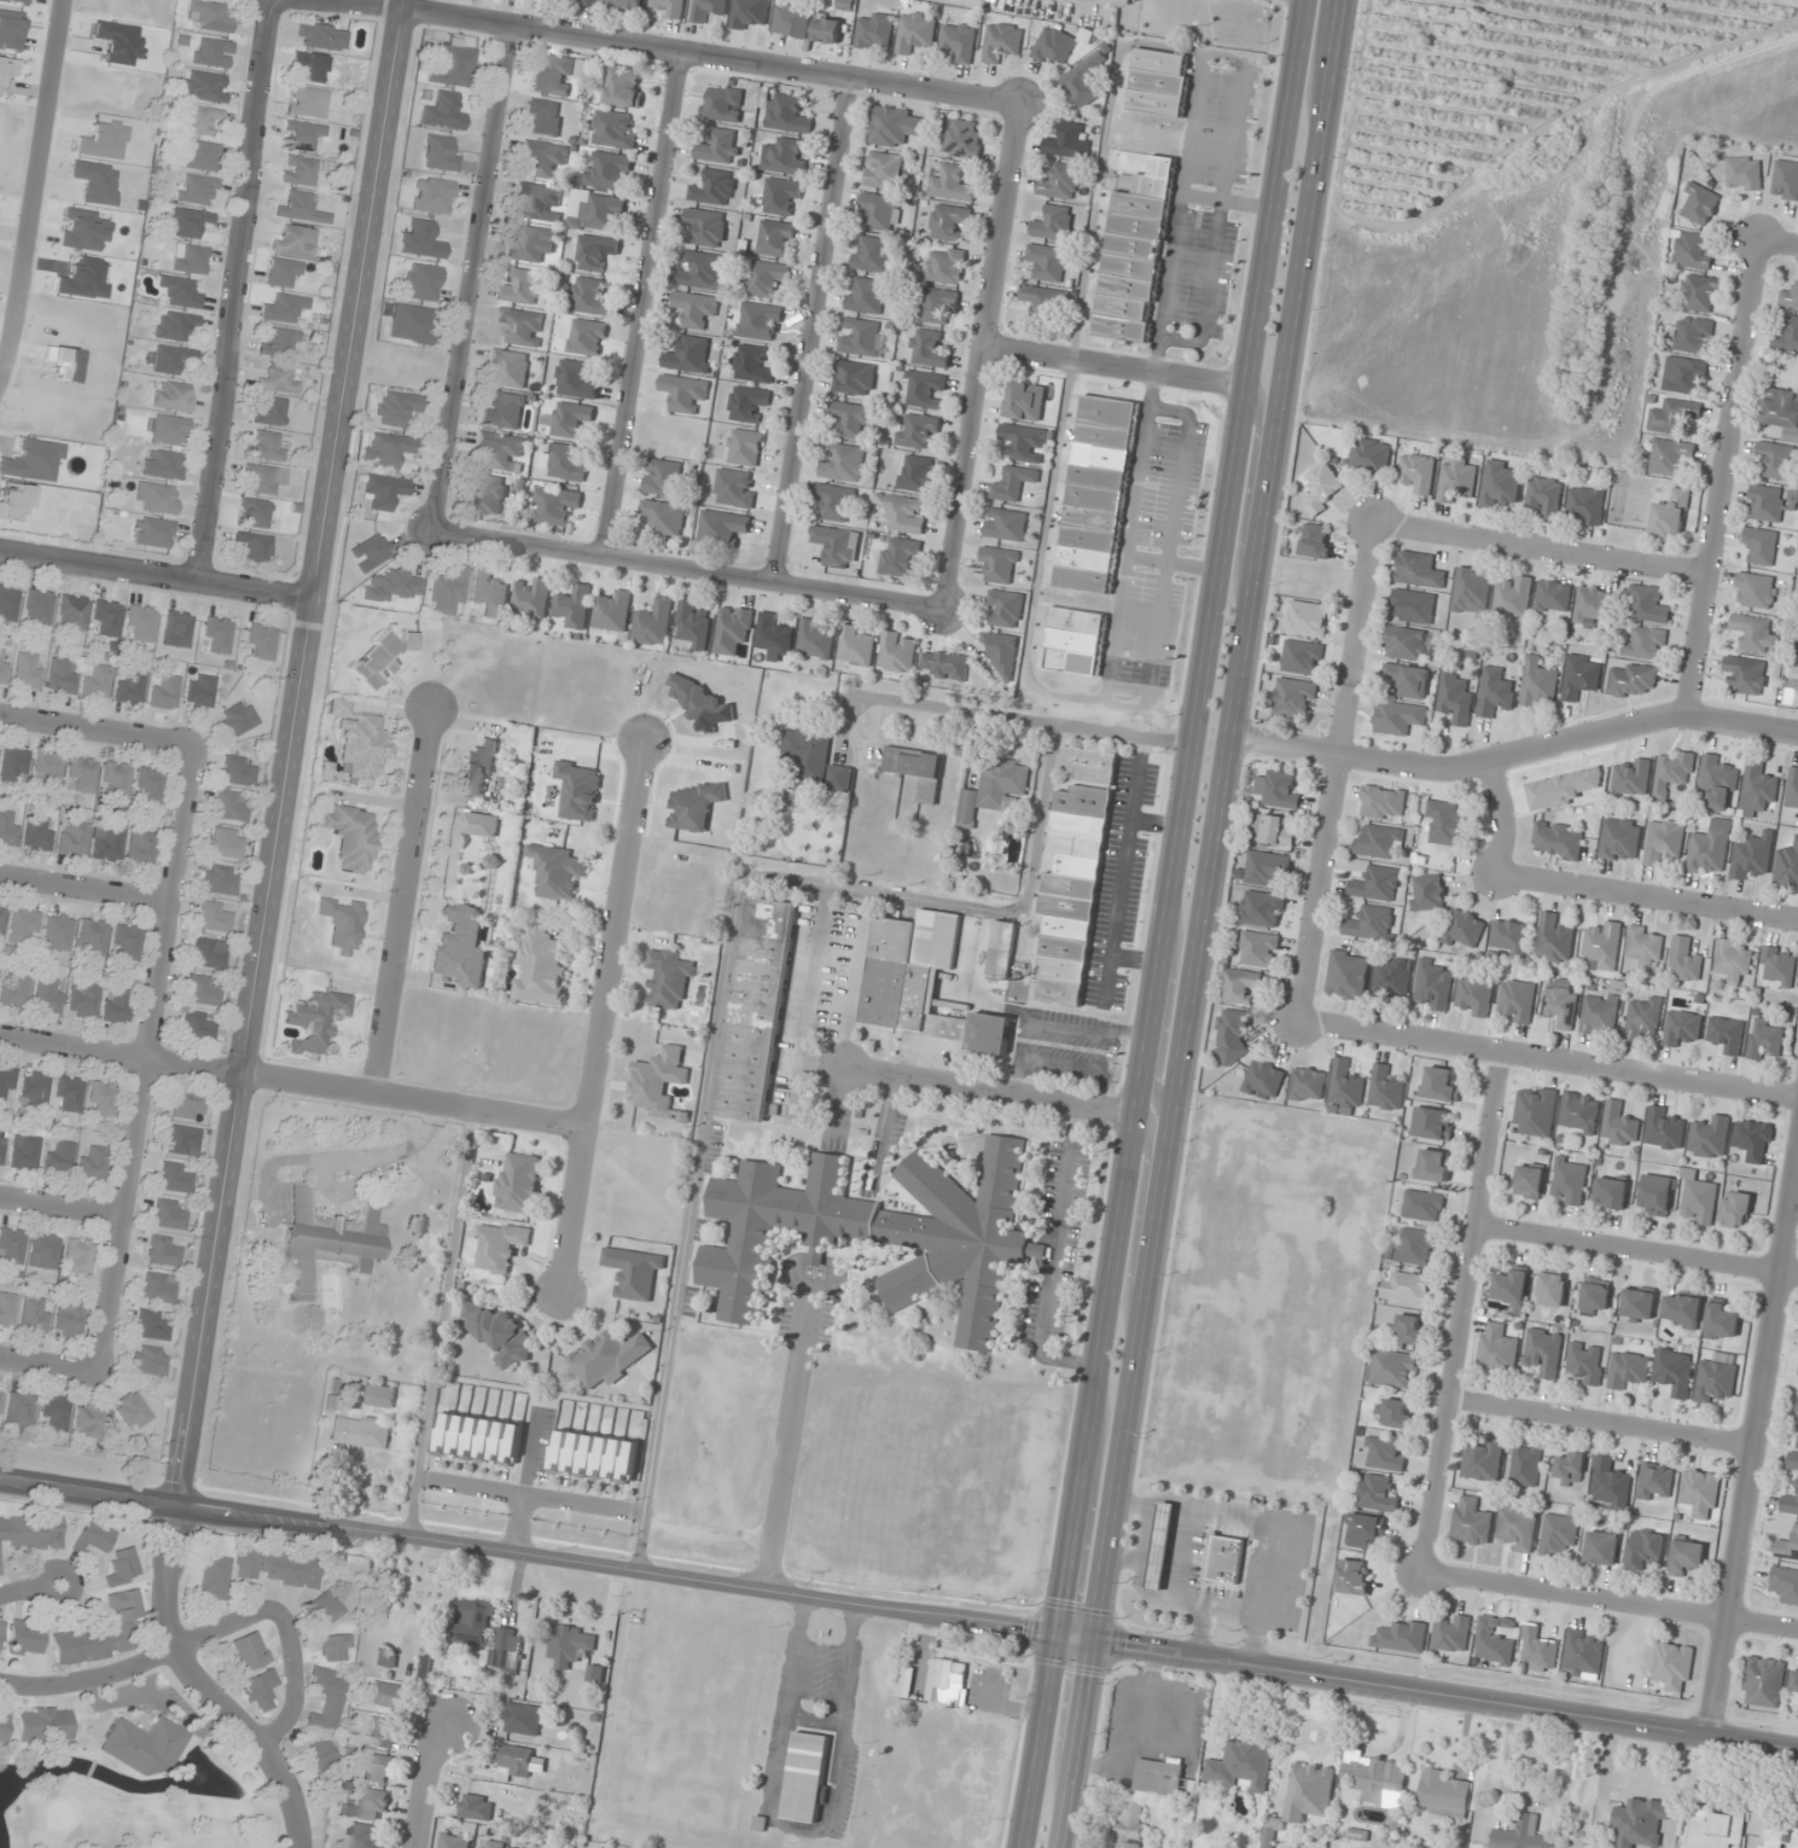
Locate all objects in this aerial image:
building: (592, 2)
building: (627, 4)
road: (368, 5)
building: (669, 7)
building: (708, 10)
building: (750, 13)
building: (208, 17)
road: (456, 17)
building: (791, 19)
building: (827, 28)
building: (874, 31)
building: (915, 31)
building: (321, 36)
building: (959, 41)
building: (1002, 41)
building: (1054, 45)
building: (211, 53)
road: (764, 64)
building: (309, 66)
building: (452, 66)
building: (552, 75)
building: (1084, 79)
building: (1159, 82)
building: (623, 86)
building: (203, 87)
building: (307, 103)
building: (722, 103)
building: (443, 112)
building: (787, 114)
building: (543, 118)
building: (197, 120)
building: (894, 126)
building: (612, 130)
building: (303, 136)
building: (962, 138)
building: (1067, 141)
building: (720, 146)
building: (440, 155)
building: (202, 156)
building: (785, 156)
building: (545, 157)
building: (606, 169)
building: (883, 169)
building: (298, 170)
building: (1744, 173)
building: (1785, 180)
building: (1060, 181)
building: (949, 182)
road: (33, 186)
building: (714, 187)
building: (196, 190)
building: (432, 196)
building: (780, 196)
building: (539, 199)
building: (1699, 204)
building: (301, 209)
building: (879, 210)
building: (598, 214)
building: (949, 221)
building: (186, 222)
building: (1053, 223)
building: (706, 226)
building: (775, 238)
building: (421, 239)
building: (295, 240)
road: (1780, 242)
building: (531, 244)
building: (1693, 250)
building: (595, 251)
building: (1134, 252)
building: (872, 254)
building: (190, 258)
building: (1047, 261)
building: (945, 266)
building: (702, 271)
building: (283, 273)
road: (472, 278)
building: (764, 278)
building: (423, 283)
building: (522, 287)
road: (232, 291)
building: (180, 292)
building: (1700, 294)
building: (865, 295)
building: (589, 296)
building: (1790, 296)
building: (1042, 301)
road: (642, 302)
building: (937, 306)
building: (284, 308)
building: (694, 308)
building: (757, 321)
building: (411, 324)
building: (174, 325)
building: (519, 325)
road: (811, 329)
building: (1693, 335)
building: (1787, 336)
building: (587, 337)
building: (861, 337)
building: (278, 343)
building: (927, 348)
building: (691, 354)
road: (979, 354)
building: (171, 360)
building: (751, 364)
road: (1115, 365)
building: (510, 367)
building: (1684, 376)
building: (854, 378)
building: (278, 379)
building: (575, 379)
building: (924, 389)
building: (682, 391)
building: (173, 396)
building: (1024, 401)
building: (747, 405)
building: (396, 408)
building: (504, 409)
building: (1781, 411)
building: (269, 412)
building: (1672, 414)
building: (569, 419)
building: (853, 419)
building: (917, 430)
building: (169, 431)
building: (1023, 442)
building: (266, 447)
building: (744, 447)
building: (388, 449)
building: (500, 449)
building: (1669, 455)
building: (1369, 457)
building: (1775, 459)
building: (565, 461)
building: (844, 464)
building: (163, 465)
building: (915, 472)
building: (1418, 472)
road: (1722, 476)
building: (663, 477)
building: (263, 478)
building: (1456, 480)
building: (1012, 483)
road: (1247, 483)
building: (1500, 483)
building: (1321, 488)
building: (383, 494)
building: (1096, 494)
building: (488, 495)
building: (1544, 495)
building: (156, 498)
building: (834, 502)
building: (1770, 502)
building: (1585, 504)
building: (554, 505)
building: (254, 512)
building: (904, 513)
building: (1670, 513)
building: (664, 517)
building: (1005, 524)
building: (722, 527)
building: (153, 533)
building: (1315, 540)
road: (1541, 545)
building: (1759, 545)
building: (255, 546)
building: (837, 546)
road: (688, 565)
building: (997, 565)
building: (1419, 570)
road: (156, 576)
building: (391, 586)
building: (1472, 589)
building: (1755, 589)
building: (448, 591)
building: (489, 593)
building: (1513, 595)
building: (1553, 597)
building: (531, 598)
building: (8, 603)
building: (1593, 604)
building: (1647, 604)
building: (574, 606)
building: (37, 608)
building: (1005, 608)
building: (612, 611)
building: (72, 612)
building: (106, 617)
building: (1307, 618)
building: (653, 622)
building: (139, 623)
building: (693, 624)
building: (176, 629)
building: (732, 629)
building: (1076, 629)
building: (773, 633)
building: (1755, 634)
building: (216, 635)
building: (815, 638)
building: (261, 643)
building: (1407, 643)
building: (1646, 644)
building: (855, 645)
building: (1797, 647)
building: (896, 652)
building: (1001, 652)
building: (380, 657)
building: (1302, 657)
building: (944, 664)
building: (4, 666)
building: (28, 670)
building: (1745, 674)
building: (62, 676)
building: (1581, 676)
building: (1631, 679)
building: (1403, 680)
building: (97, 681)
building: (1537, 682)
building: (130, 688)
building: (199, 691)
building: (164, 692)
building: (1495, 692)
building: (1796, 692)
building: (1294, 697)
building: (1455, 697)
building: (703, 703)
building: (1398, 716)
building: (238, 719)
road: (1024, 719)
road: (95, 731)
road: (1567, 743)
building: (360, 745)
road: (1284, 745)
road: (290, 751)
building: (814, 760)
building: (13, 765)
building: (1089, 765)
road: (1336, 768)
building: (477, 769)
building: (917, 769)
building: (237, 772)
building: (1671, 772)
building: (82, 775)
building: (1631, 777)
building: (117, 779)
building: (1717, 783)
building: (150, 784)
building: (1758, 785)
building: (993, 789)
building: (1278, 789)
building: (1792, 789)
building: (1383, 803)
building: (229, 807)
building: (1447, 823)
building: (481, 824)
building: (8, 827)
building: (1273, 830)
building: (39, 832)
building: (353, 838)
building: (72, 839)
building: (1558, 839)
building: (1619, 839)
building: (1379, 841)
building: (1663, 842)
building: (105, 843)
building: (226, 843)
building: (140, 848)
building: (1707, 852)
building: (1748, 859)
building: (1787, 865)
building: (1268, 868)
building: (555, 871)
building: (220, 881)
building: (1375, 883)
road: (1594, 883)
road: (83, 889)
building: (1426, 891)
building: (1071, 894)
road: (401, 902)
building: (1262, 908)
building: (214, 917)
building: (1, 923)
building: (1369, 923)
building: (342, 924)
road: (1165, 924)
road: (1200, 924)
building: (24, 925)
building: (1464, 930)
building: (58, 932)
building: (1508, 936)
building: (92, 937)
building: (1554, 938)
building: (127, 941)
building: (1602, 945)
building: (459, 946)
building: (1645, 947)
building: (1258, 948)
building: (1001, 949)
building: (209, 953)
building: (1684, 959)
building: (1734, 960)
building: (1779, 965)
building: (541, 967)
building: (1348, 975)
building: (668, 978)
building: (1391, 978)
building: (923, 982)
building: (1433, 983)
building: (1239, 986)
building: (14, 990)
building: (202, 990)
building: (48, 995)
building: (1473, 995)
building: (82, 1000)
building: (1517, 1000)
building: (1560, 1006)
building: (116, 1007)
building: (756, 1009)
road: (599, 1016)
building: (1599, 1016)
building: (1642, 1017)
building: (315, 1021)
building: (196, 1025)
building: (1681, 1027)
road: (1163, 1031)
building: (1232, 1034)
building: (1727, 1034)
building: (1764, 1038)
road: (1547, 1058)
road: (145, 1059)
building: (1263, 1080)
road: (290, 1081)
road: (954, 1082)
building: (6, 1083)
building: (658, 1083)
building: (1308, 1083)
building: (1439, 1085)
building: (1385, 1087)
building: (1345, 1088)
building: (34, 1089)
building: (69, 1094)
building: (101, 1099)
building: (188, 1105)
building: (1535, 1110)
building: (1579, 1112)
building: (1432, 1122)
building: (1619, 1125)
building: (1664, 1128)
building: (1710, 1137)
building: (181, 1140)
building: (1753, 1140)
building: (1, 1146)
building: (24, 1152)
building: (59, 1158)
building: (92, 1163)
building: (1433, 1164)
building: (174, 1178)
building: (1569, 1180)
building: (1530, 1181)
building: (519, 1182)
building: (1611, 1192)
building: (1656, 1195)
building: (1698, 1201)
building: (1422, 1205)
road: (60, 1207)
road: (1140, 1209)
building: (1736, 1209)
building: (167, 1215)
building: (879, 1233)
building: (327, 1240)
building: (12, 1245)
building: (499, 1245)
building: (1415, 1246)
road: (1637, 1246)
building: (45, 1251)
building: (162, 1251)
building: (80, 1257)
building: (633, 1271)
building: (158, 1286)
building: (1406, 1286)
building: (1511, 1286)
building: (1552, 1289)
building: (1595, 1296)
building: (1639, 1306)
building: (7, 1309)
building: (1683, 1311)
road: (1464, 1312)
building: (35, 1314)
building: (69, 1319)
building: (1722, 1320)
building: (152, 1325)
building: (1409, 1329)
building: (499, 1332)
building: (1497, 1347)
building: (1543, 1352)
building: (606, 1356)
building: (150, 1361)
building: (1587, 1362)
road: (50, 1364)
building: (1628, 1367)
building: (1675, 1370)
building: (1715, 1381)
building: (0, 1394)
building: (380, 1395)
building: (21, 1410)
building: (132, 1411)
building: (1797, 1411)
building: (1393, 1412)
building: (56, 1413)
building: (89, 1420)
road: (1602, 1423)
road: (791, 1429)
building: (361, 1430)
building: (481, 1439)
building: (1385, 1452)
road: (1755, 1453)
building: (594, 1457)
building: (1793, 1458)
building: (1483, 1460)
building: (1525, 1464)
building: (1569, 1468)
building: (1656, 1481)
building: (1610, 1483)
building: (1700, 1492)
building: (1378, 1493)
building: (1790, 1501)
building: (1471, 1521)
building: (1518, 1526)
building: (1364, 1529)
building: (30, 1533)
building: (1558, 1534)
building: (93, 1539)
building: (1788, 1545)
building: (1162, 1546)
building: (1601, 1546)
building: (1645, 1547)
building: (1686, 1556)
building: (1226, 1559)
building: (278, 1567)
building: (123, 1568)
building: (1352, 1576)
building: (214, 1577)
building: (1785, 1583)
road: (25, 1588)
road: (1611, 1599)
road: (900, 1608)
building: (324, 1609)
building: (473, 1622)
road: (289, 1632)
building: (104, 1633)
building: (1451, 1633)
building: (1, 1634)
building: (1400, 1635)
building: (27, 1638)
traffic signals: (1089, 1639)
building: (570, 1643)
building: (333, 1646)
building: (1537, 1646)
building: (507, 1649)
building: (249, 1651)
building: (1583, 1652)
building: (385, 1658)
building: (1674, 1666)
building: (595, 1673)
road: (92, 1678)
building: (1794, 1679)
building: (947, 1681)
building: (1763, 1681)
road: (206, 1685)
building: (261, 1690)
building: (385, 1693)
building: (327, 1698)
building: (523, 1719)
building: (4, 1722)
building: (45, 1725)
building: (383, 1732)
building: (144, 1745)
building: (316, 1755)
building: (514, 1762)
building: (1243, 1766)
building: (378, 1767)
building: (807, 1776)
building: (1159, 1777)
building: (1375, 1777)
road: (425, 1784)
building: (1309, 1791)
building: (1443, 1794)
building: (372, 1803)
building: (477, 1807)
building: (1641, 1823)
building: (1130, 1825)
building: (1716, 1826)
building: (1523, 1835)
building: (362, 1836)
building: (1781, 1837)
building: (454, 1840)
building: (491, 1843)
building: (513, 1847)

